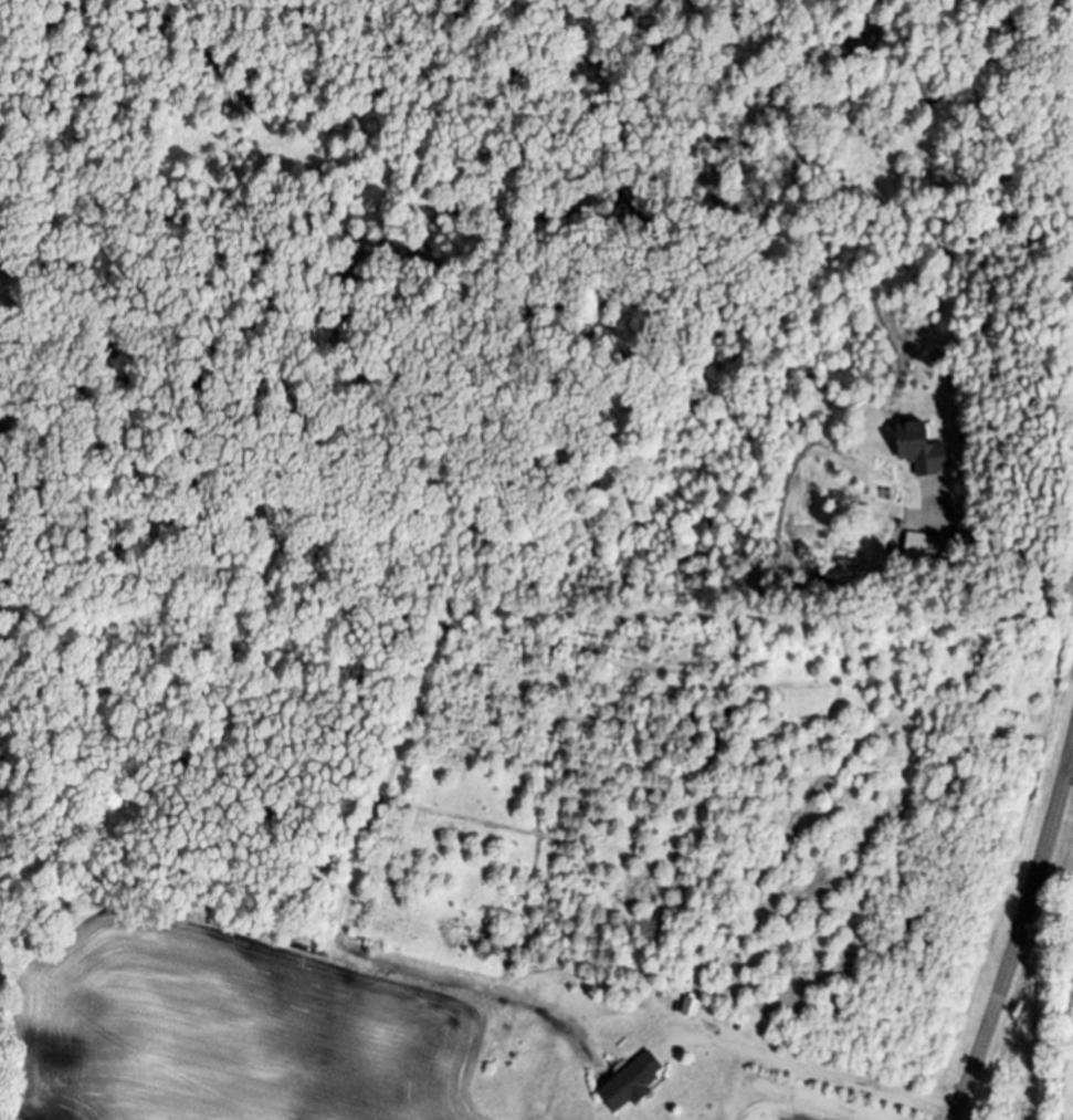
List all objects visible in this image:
building: (923, 447)
building: (930, 545)
road: (1007, 559)
road: (1072, 771)
road: (1020, 942)
building: (691, 1005)
road: (824, 1072)
building: (633, 1081)

